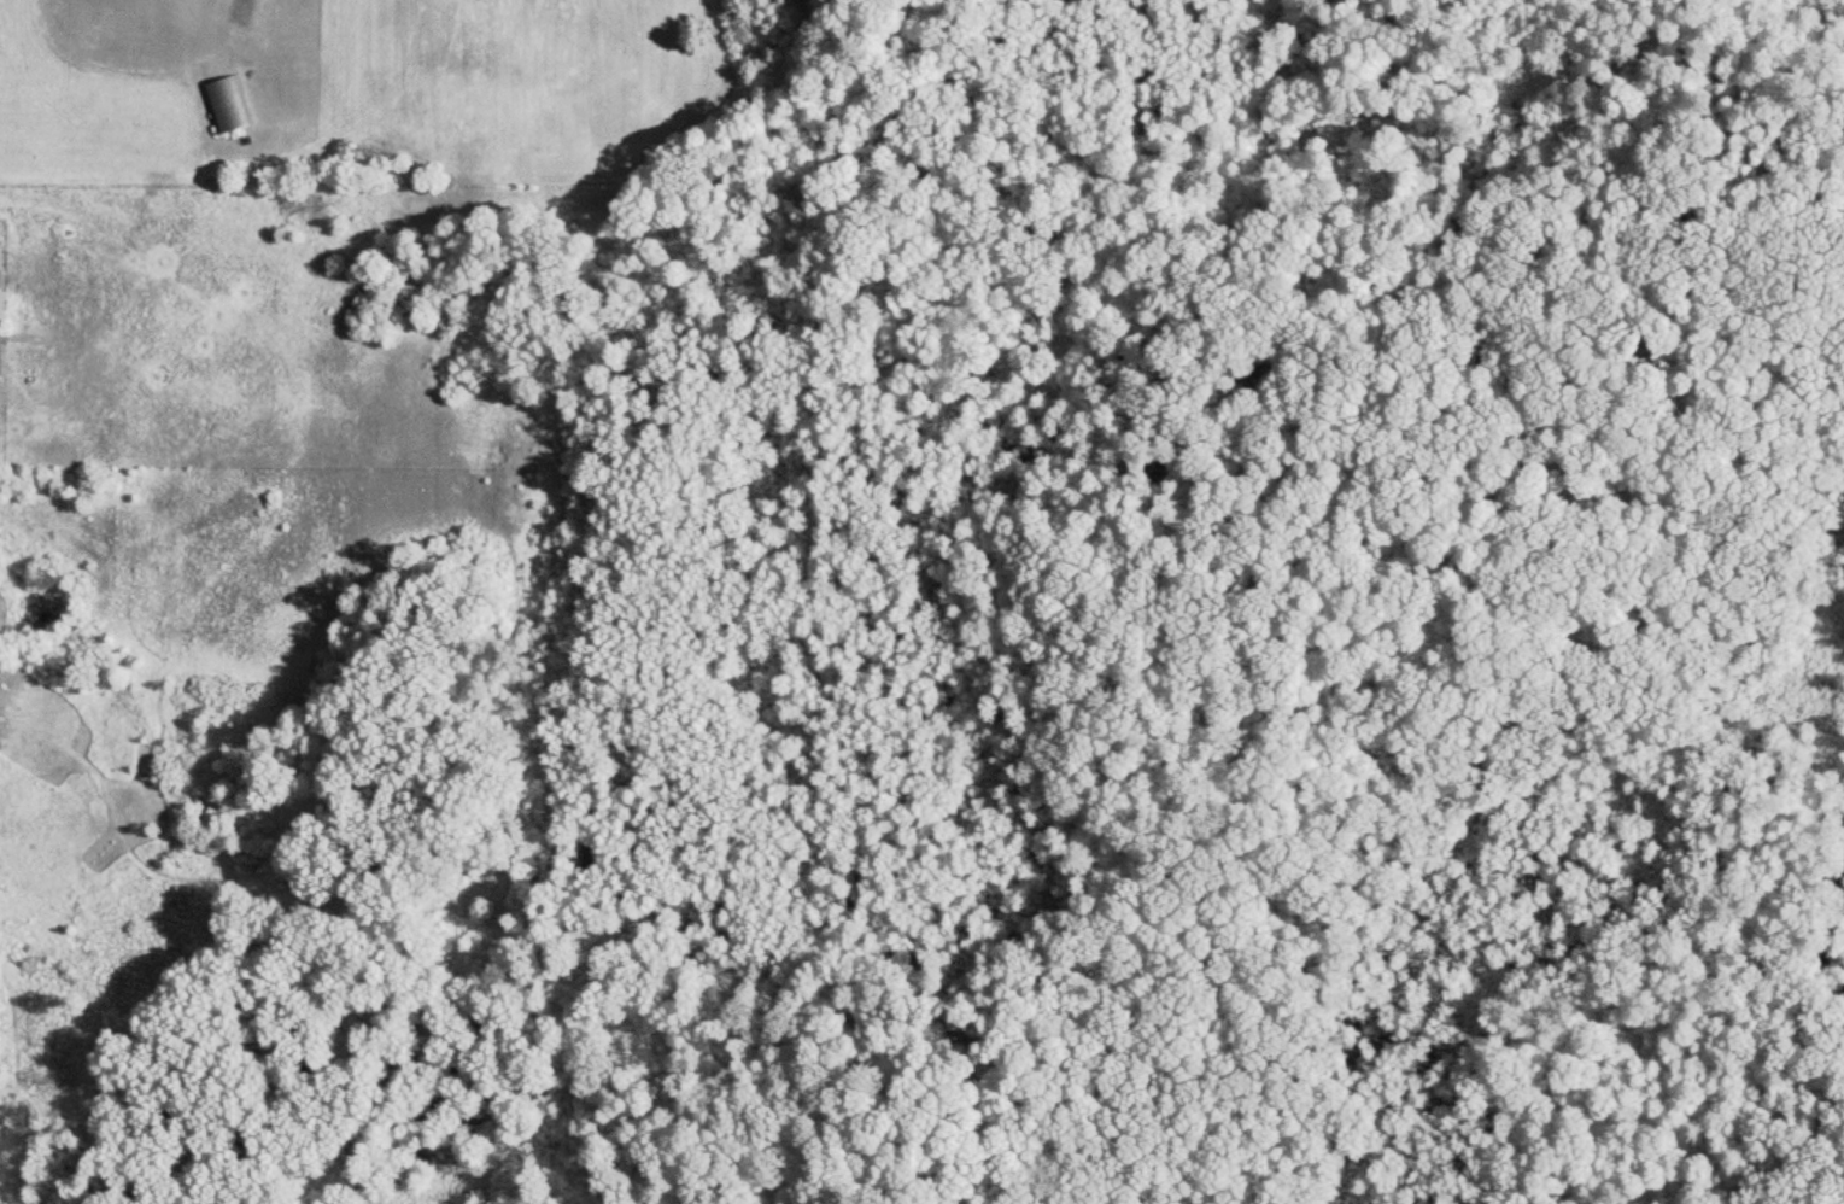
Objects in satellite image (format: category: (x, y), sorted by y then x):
building: (224, 105)
building: (0, 310)

